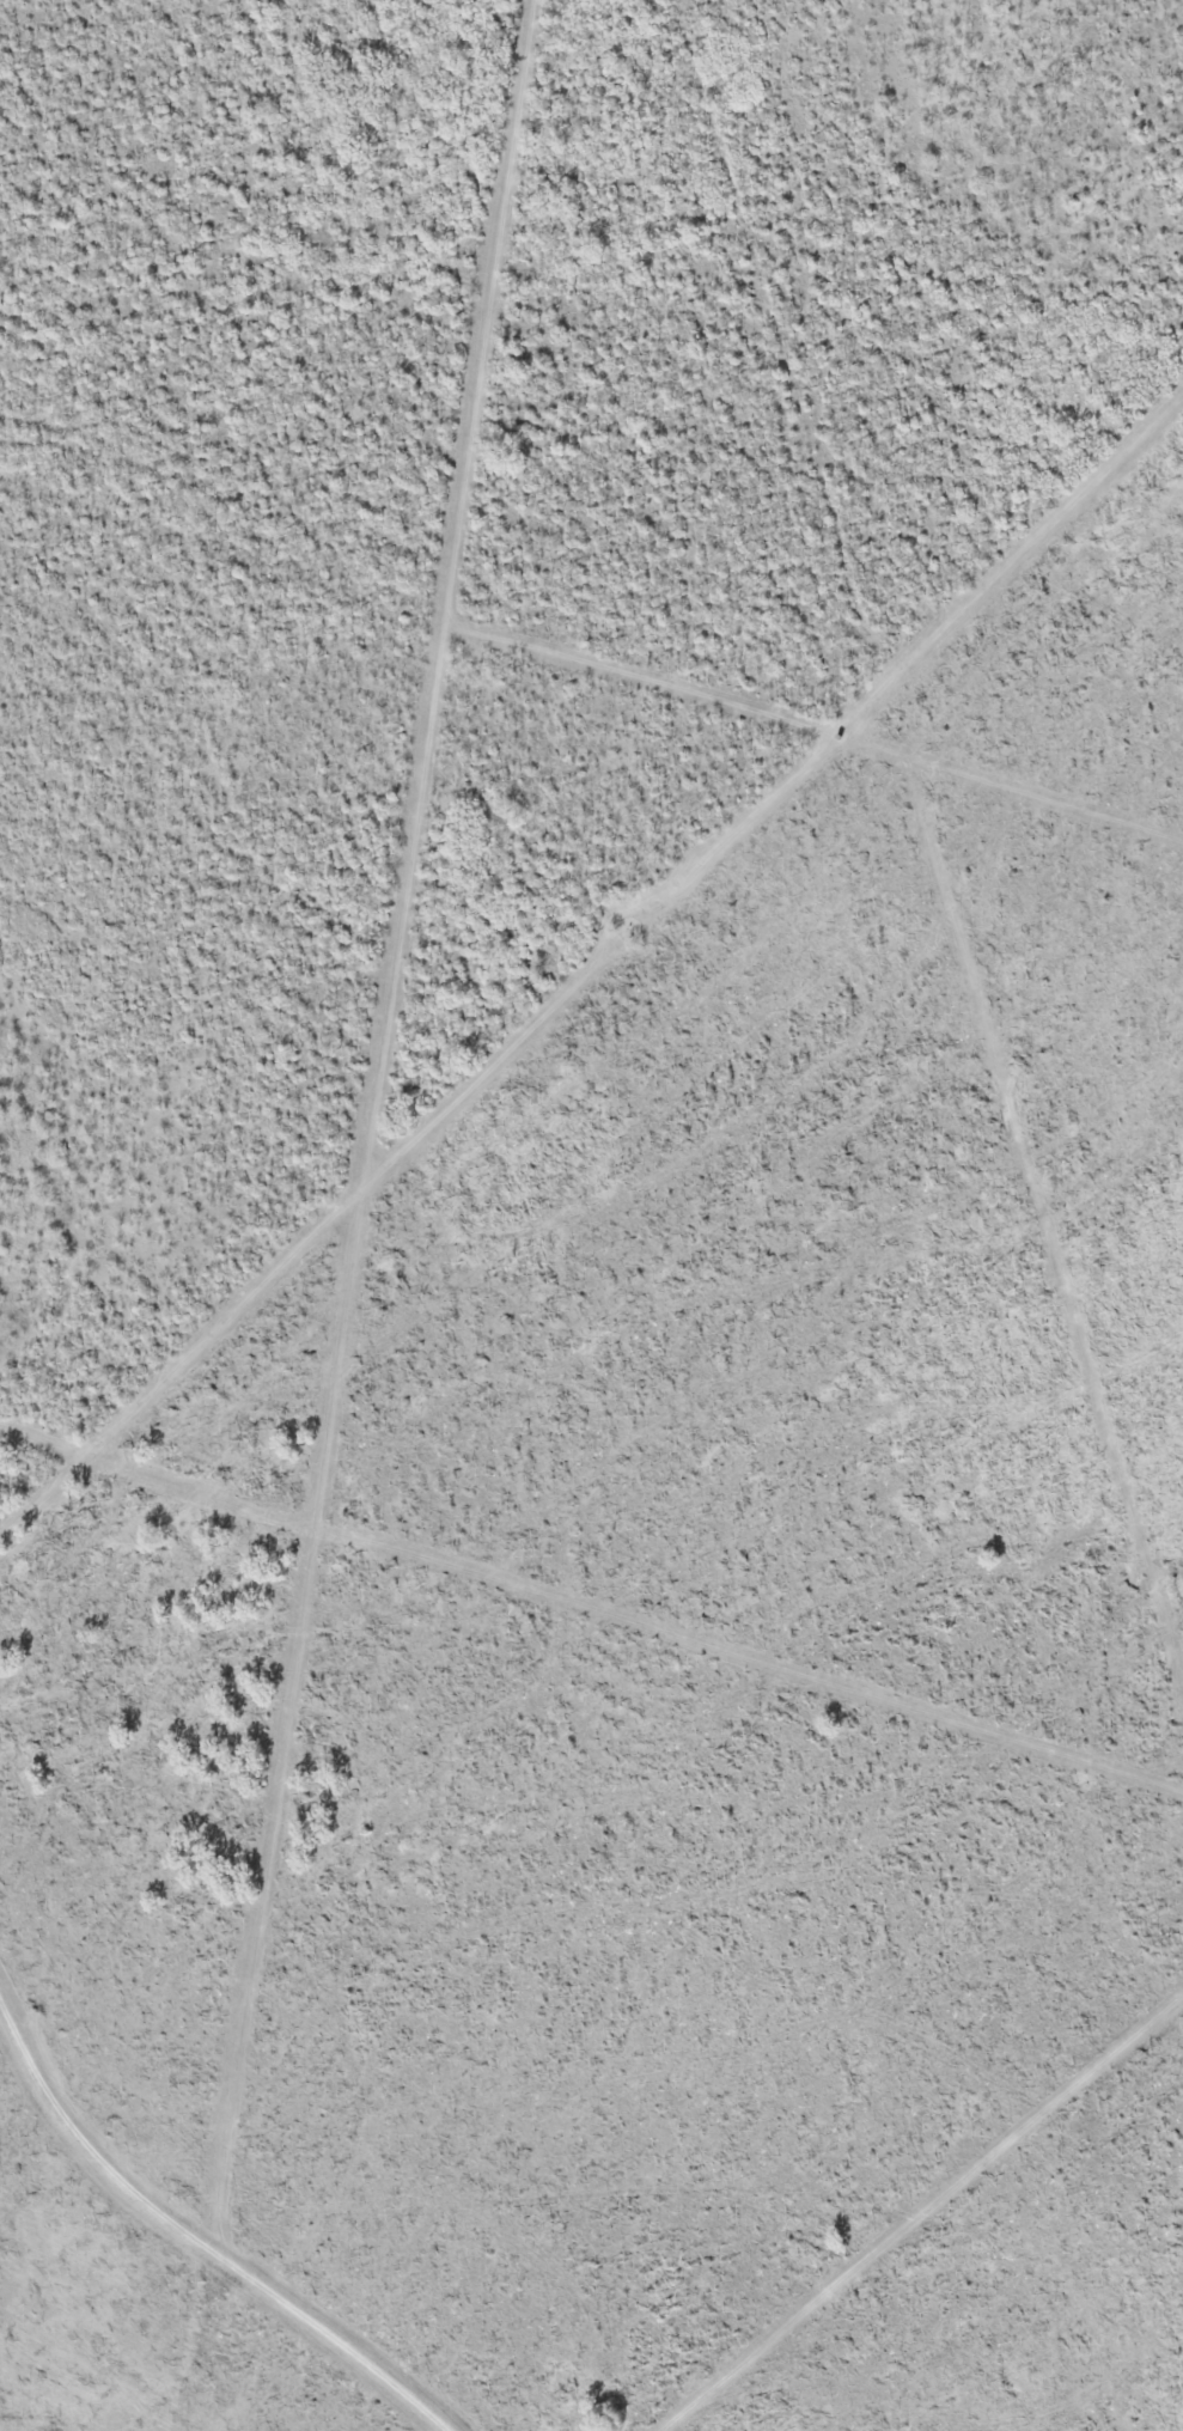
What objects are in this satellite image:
road: (200, 2250)

